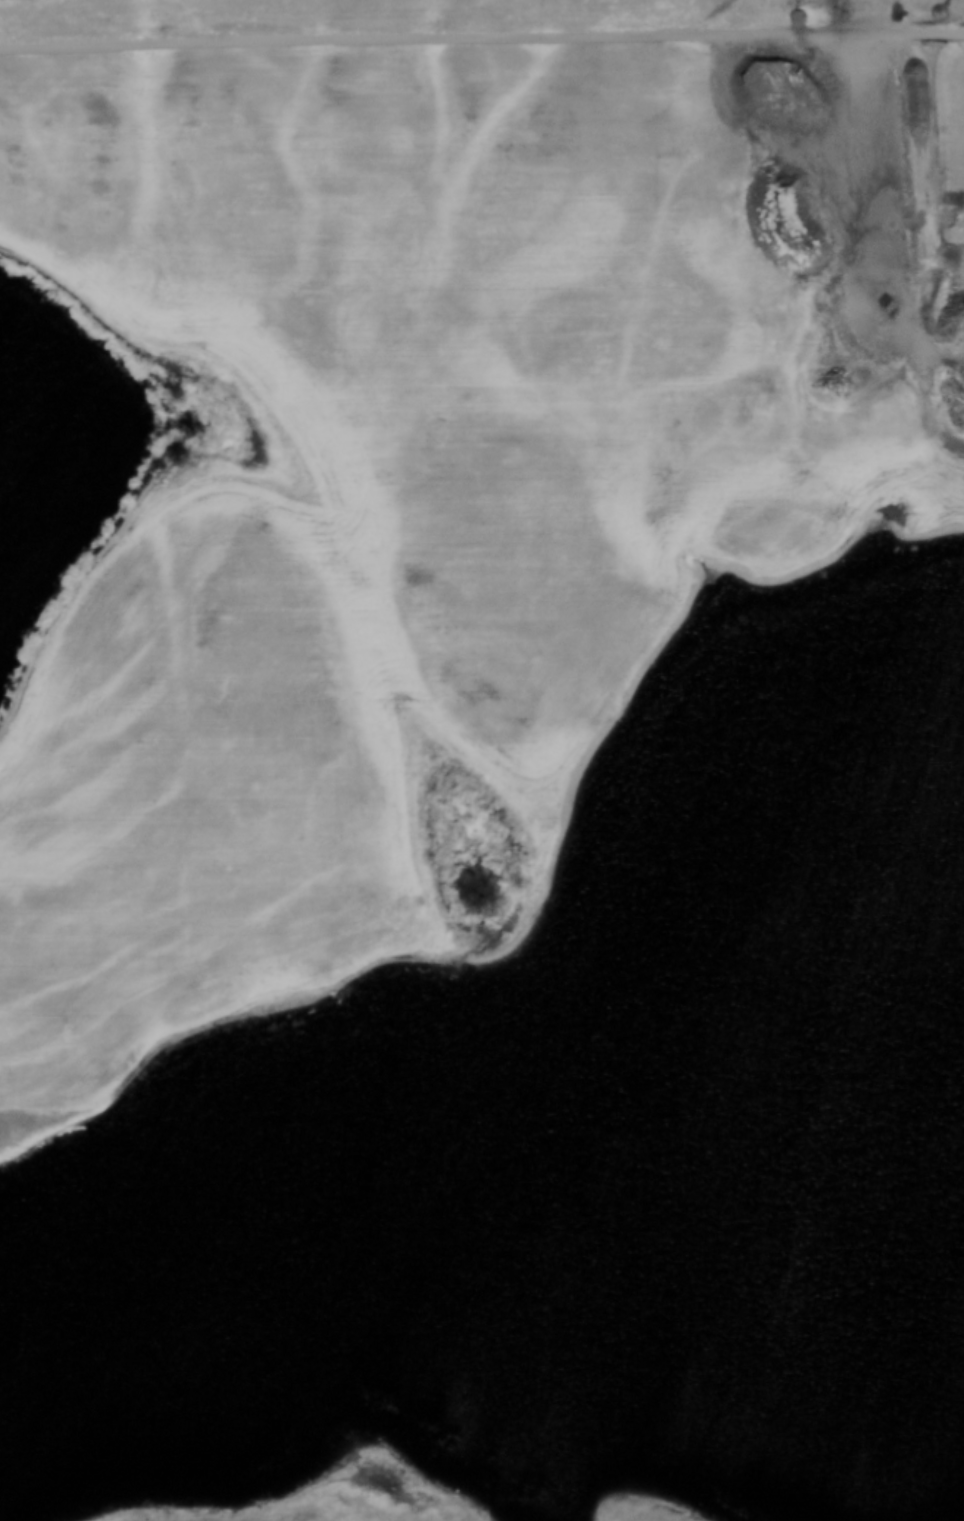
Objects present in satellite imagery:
road: (477, 36)
quarry: (963, 175)

